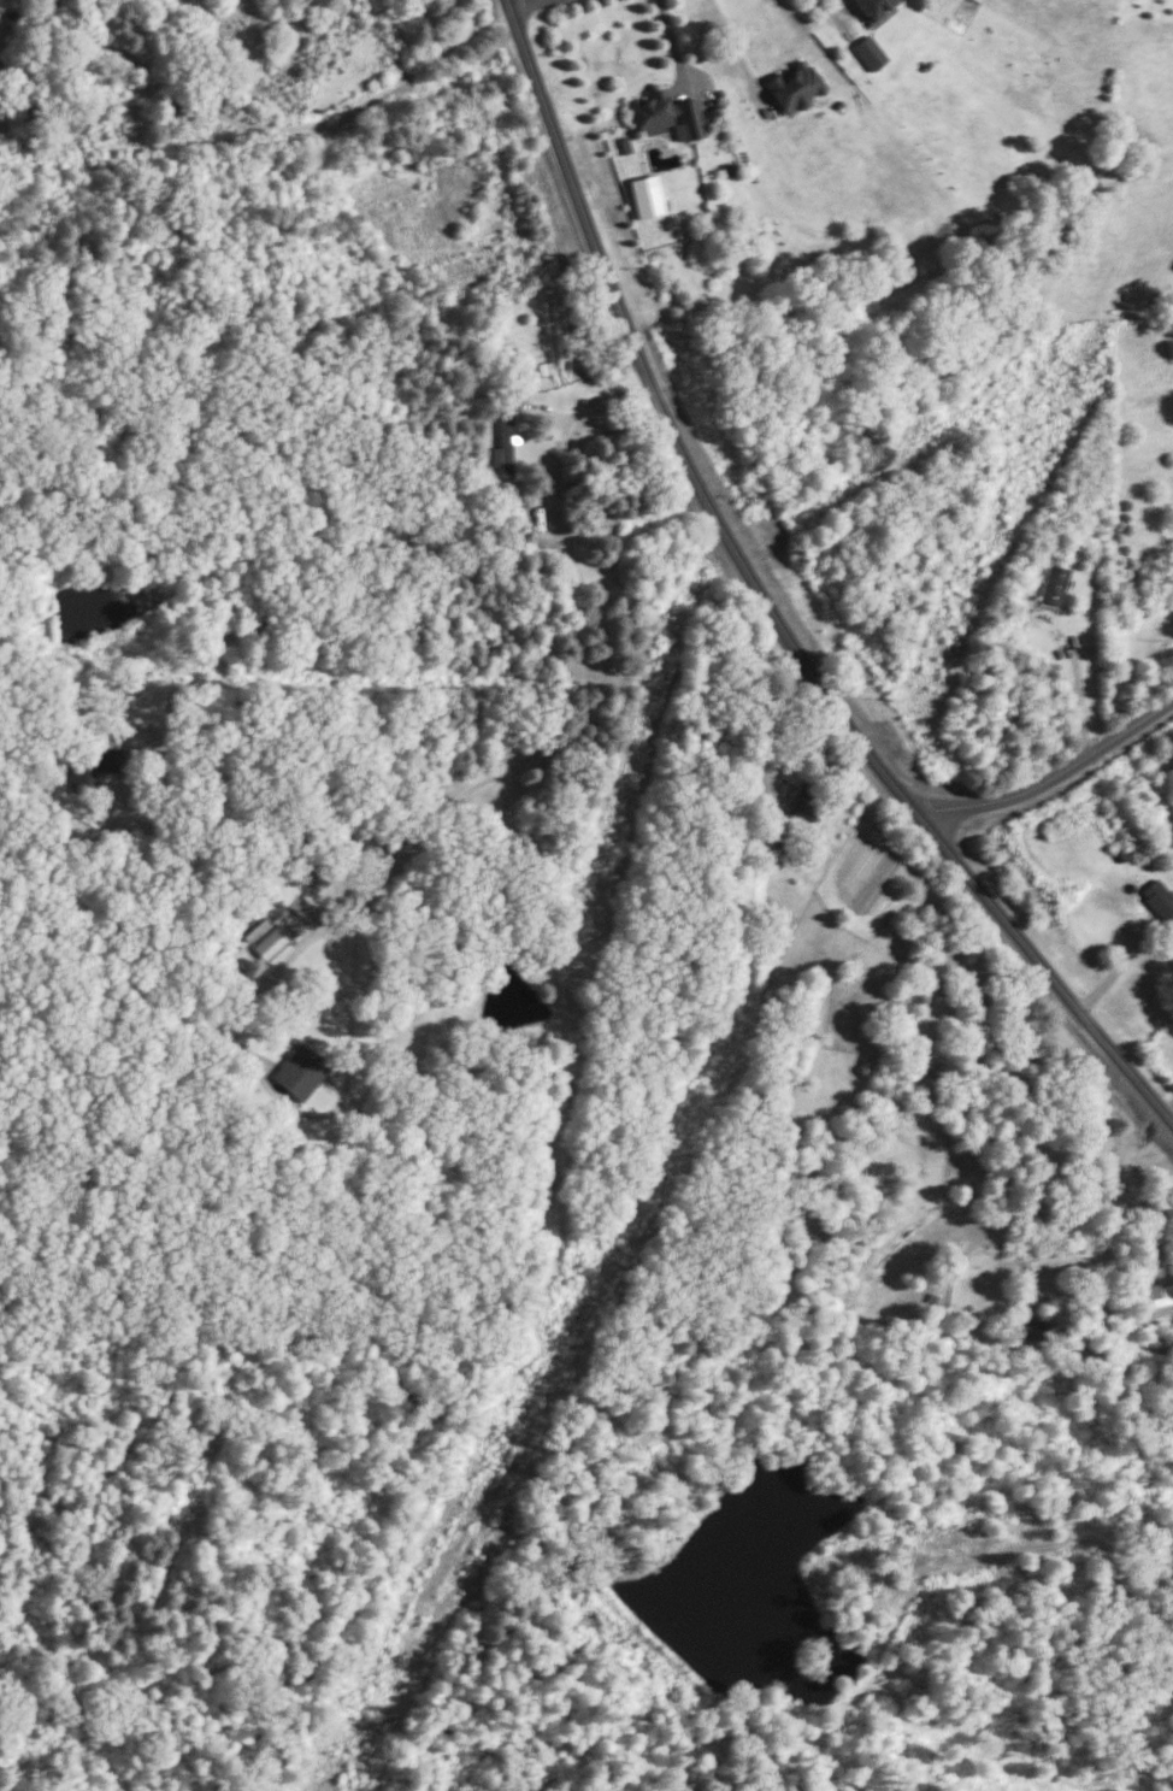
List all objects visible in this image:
building: (874, 6)
road: (531, 7)
road: (826, 13)
road: (670, 39)
building: (871, 52)
road: (736, 55)
building: (795, 86)
building: (666, 114)
road: (267, 125)
building: (646, 195)
road: (673, 436)
building: (502, 448)
building: (1054, 583)
road: (1079, 695)
road: (524, 756)
building: (90, 767)
road: (1059, 773)
building: (806, 800)
building: (1159, 899)
building: (269, 942)
road: (1050, 976)
building: (301, 1071)
road: (302, 1112)
building: (1160, 1285)

